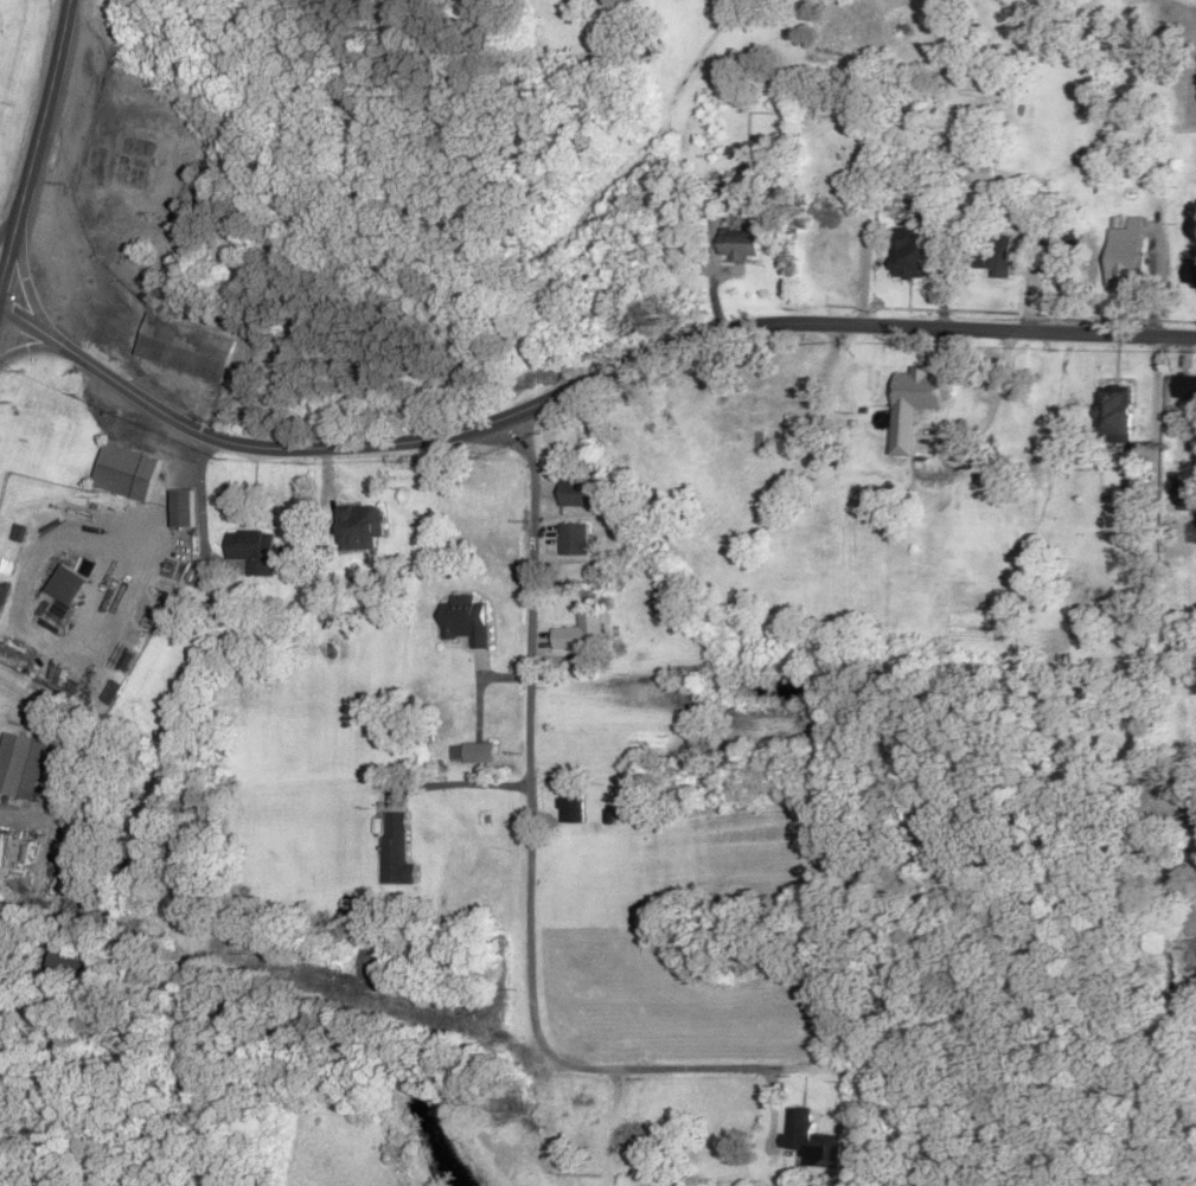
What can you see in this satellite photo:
road: (283, 98)
road: (33, 141)
building: (977, 169)
road: (8, 225)
building: (741, 244)
building: (1126, 249)
building: (827, 251)
building: (910, 254)
building: (992, 255)
building: (1062, 256)
building: (1189, 273)
road: (27, 291)
road: (36, 347)
building: (184, 348)
road: (577, 384)
building: (1184, 389)
building: (914, 405)
building: (1114, 415)
building: (126, 473)
building: (575, 493)
building: (1189, 496)
building: (181, 509)
building: (360, 528)
building: (574, 540)
building: (252, 552)
building: (66, 585)
building: (465, 621)
building: (582, 633)
building: (473, 752)
building: (13, 763)
building: (571, 808)
building: (394, 847)
road: (530, 851)
building: (68, 967)
building: (582, 1115)
building: (811, 1140)

